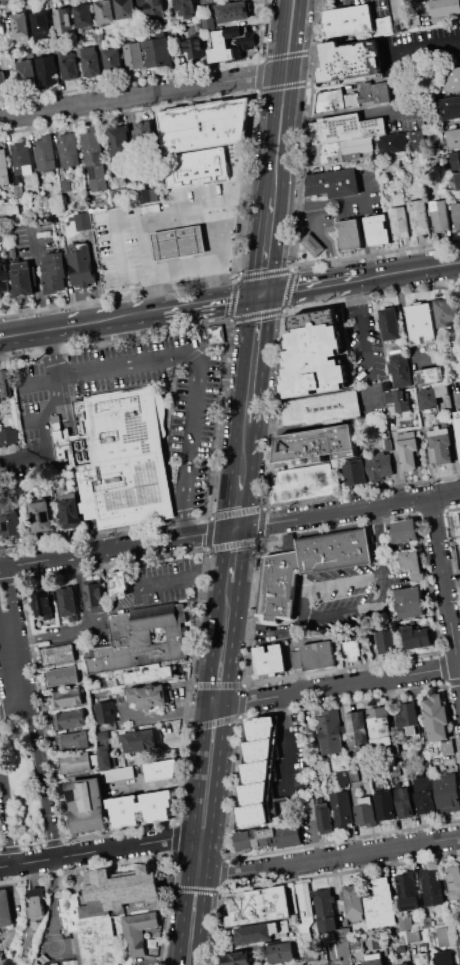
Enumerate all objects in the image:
building: (218, 0)
building: (411, 1)
building: (444, 7)
building: (184, 8)
building: (126, 10)
building: (106, 11)
building: (156, 11)
building: (232, 12)
building: (84, 15)
building: (63, 21)
building: (348, 21)
building: (413, 22)
building: (209, 23)
building: (383, 25)
building: (41, 26)
building: (21, 27)
building: (99, 34)
road: (369, 39)
building: (231, 43)
road: (331, 44)
building: (194, 48)
road: (424, 48)
road: (304, 49)
building: (158, 52)
building: (134, 56)
building: (114, 60)
building: (349, 60)
building: (92, 61)
building: (8, 62)
building: (70, 66)
building: (47, 70)
building: (28, 72)
building: (453, 79)
building: (2, 82)
building: (375, 92)
road: (142, 94)
road: (281, 99)
building: (335, 101)
building: (450, 108)
road: (335, 113)
building: (204, 126)
building: (345, 128)
building: (144, 136)
building: (454, 138)
building: (120, 141)
building: (403, 141)
building: (68, 150)
building: (341, 152)
building: (45, 153)
building: (94, 159)
building: (22, 160)
building: (199, 160)
building: (456, 160)
building: (4, 168)
building: (457, 180)
building: (334, 183)
building: (66, 185)
building: (42, 188)
building: (17, 190)
building: (118, 196)
building: (144, 196)
road: (318, 203)
road: (192, 205)
building: (8, 210)
building: (440, 214)
building: (456, 215)
building: (419, 217)
building: (82, 221)
building: (399, 223)
road: (223, 228)
building: (377, 231)
road: (317, 232)
building: (349, 235)
road: (188, 236)
building: (0, 237)
road: (168, 240)
building: (178, 242)
road: (264, 245)
building: (312, 245)
building: (12, 253)
road: (151, 262)
road: (208, 263)
building: (81, 265)
road: (119, 265)
road: (409, 269)
building: (53, 272)
building: (4, 276)
building: (23, 279)
road: (309, 285)
traffic signals: (260, 293)
road: (209, 301)
building: (448, 313)
road: (103, 320)
building: (422, 322)
building: (390, 325)
road: (365, 327)
road: (24, 333)
building: (218, 334)
building: (320, 353)
road: (190, 355)
road: (252, 359)
building: (401, 373)
building: (430, 375)
building: (5, 385)
building: (432, 395)
building: (398, 401)
building: (319, 410)
parking lot: (195, 411)
road: (48, 415)
road: (38, 421)
building: (458, 422)
building: (8, 436)
building: (316, 445)
building: (440, 446)
building: (408, 448)
road: (242, 451)
building: (119, 457)
building: (379, 465)
building: (355, 473)
building: (302, 483)
road: (236, 502)
road: (432, 506)
road: (263, 508)
road: (347, 509)
building: (70, 511)
building: (459, 513)
building: (41, 517)
building: (12, 525)
traffic signals: (234, 528)
building: (404, 531)
road: (198, 533)
road: (160, 540)
road: (242, 553)
road: (78, 554)
road: (380, 554)
building: (413, 563)
building: (307, 567)
road: (452, 578)
road: (346, 583)
building: (119, 584)
building: (94, 593)
road: (446, 599)
parking lot: (340, 600)
parking lot: (127, 601)
building: (68, 602)
building: (410, 602)
road: (116, 607)
building: (42, 608)
road: (341, 612)
road: (284, 629)
road: (9, 637)
building: (416, 638)
building: (142, 639)
building: (386, 641)
building: (353, 650)
building: (57, 655)
building: (319, 656)
building: (271, 659)
building: (149, 673)
building: (60, 676)
road: (331, 686)
building: (64, 698)
building: (148, 698)
road: (241, 702)
road: (9, 704)
road: (166, 711)
building: (106, 714)
building: (408, 717)
building: (436, 717)
building: (67, 719)
building: (380, 726)
building: (261, 727)
building: (356, 729)
building: (330, 732)
building: (75, 740)
road: (286, 741)
building: (138, 742)
road: (201, 745)
building: (447, 747)
building: (259, 749)
building: (105, 760)
building: (74, 763)
building: (403, 764)
building: (321, 766)
building: (411, 766)
building: (395, 769)
building: (160, 770)
building: (256, 770)
building: (384, 771)
building: (124, 773)
road: (217, 773)
road: (41, 774)
building: (353, 774)
building: (343, 778)
park: (22, 782)
road: (28, 784)
building: (254, 792)
building: (436, 795)
building: (404, 803)
building: (87, 805)
building: (385, 806)
building: (140, 808)
building: (341, 808)
building: (365, 812)
building: (253, 814)
road: (7, 815)
building: (325, 819)
road: (316, 832)
road: (201, 838)
building: (268, 838)
road: (95, 850)
road: (333, 857)
road: (197, 873)
building: (453, 881)
building: (432, 886)
building: (408, 890)
building: (36, 902)
building: (352, 902)
building: (381, 904)
building: (258, 906)
building: (304, 907)
building: (5, 908)
building: (103, 910)
building: (325, 910)
building: (405, 923)
building: (137, 930)
building: (257, 933)
building: (413, 935)
building: (443, 936)
building: (459, 943)
building: (345, 945)
building: (401, 948)
building: (282, 952)
building: (446, 957)
building: (236, 958)
building: (424, 959)
building: (375, 962)
building: (298, 964)
building: (327, 964)
building: (406, 964)

